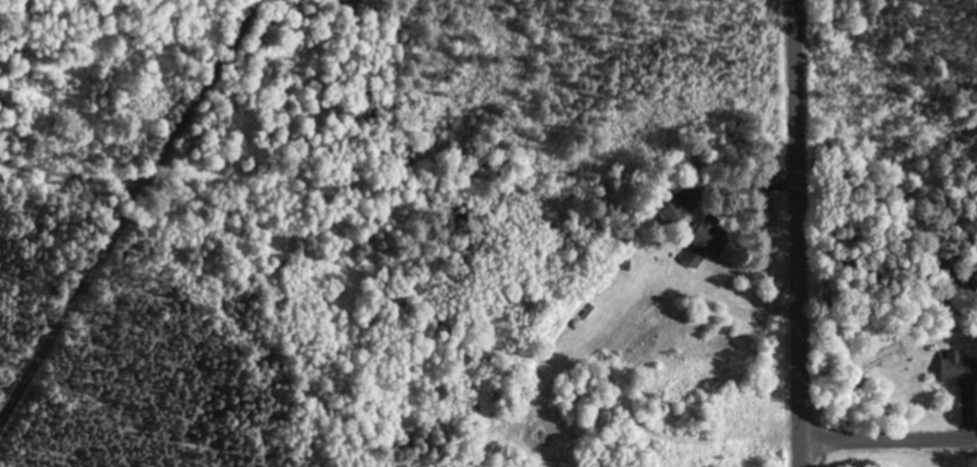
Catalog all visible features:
road: (125, 206)
road: (795, 233)
building: (706, 243)
building: (958, 367)
road: (888, 438)

